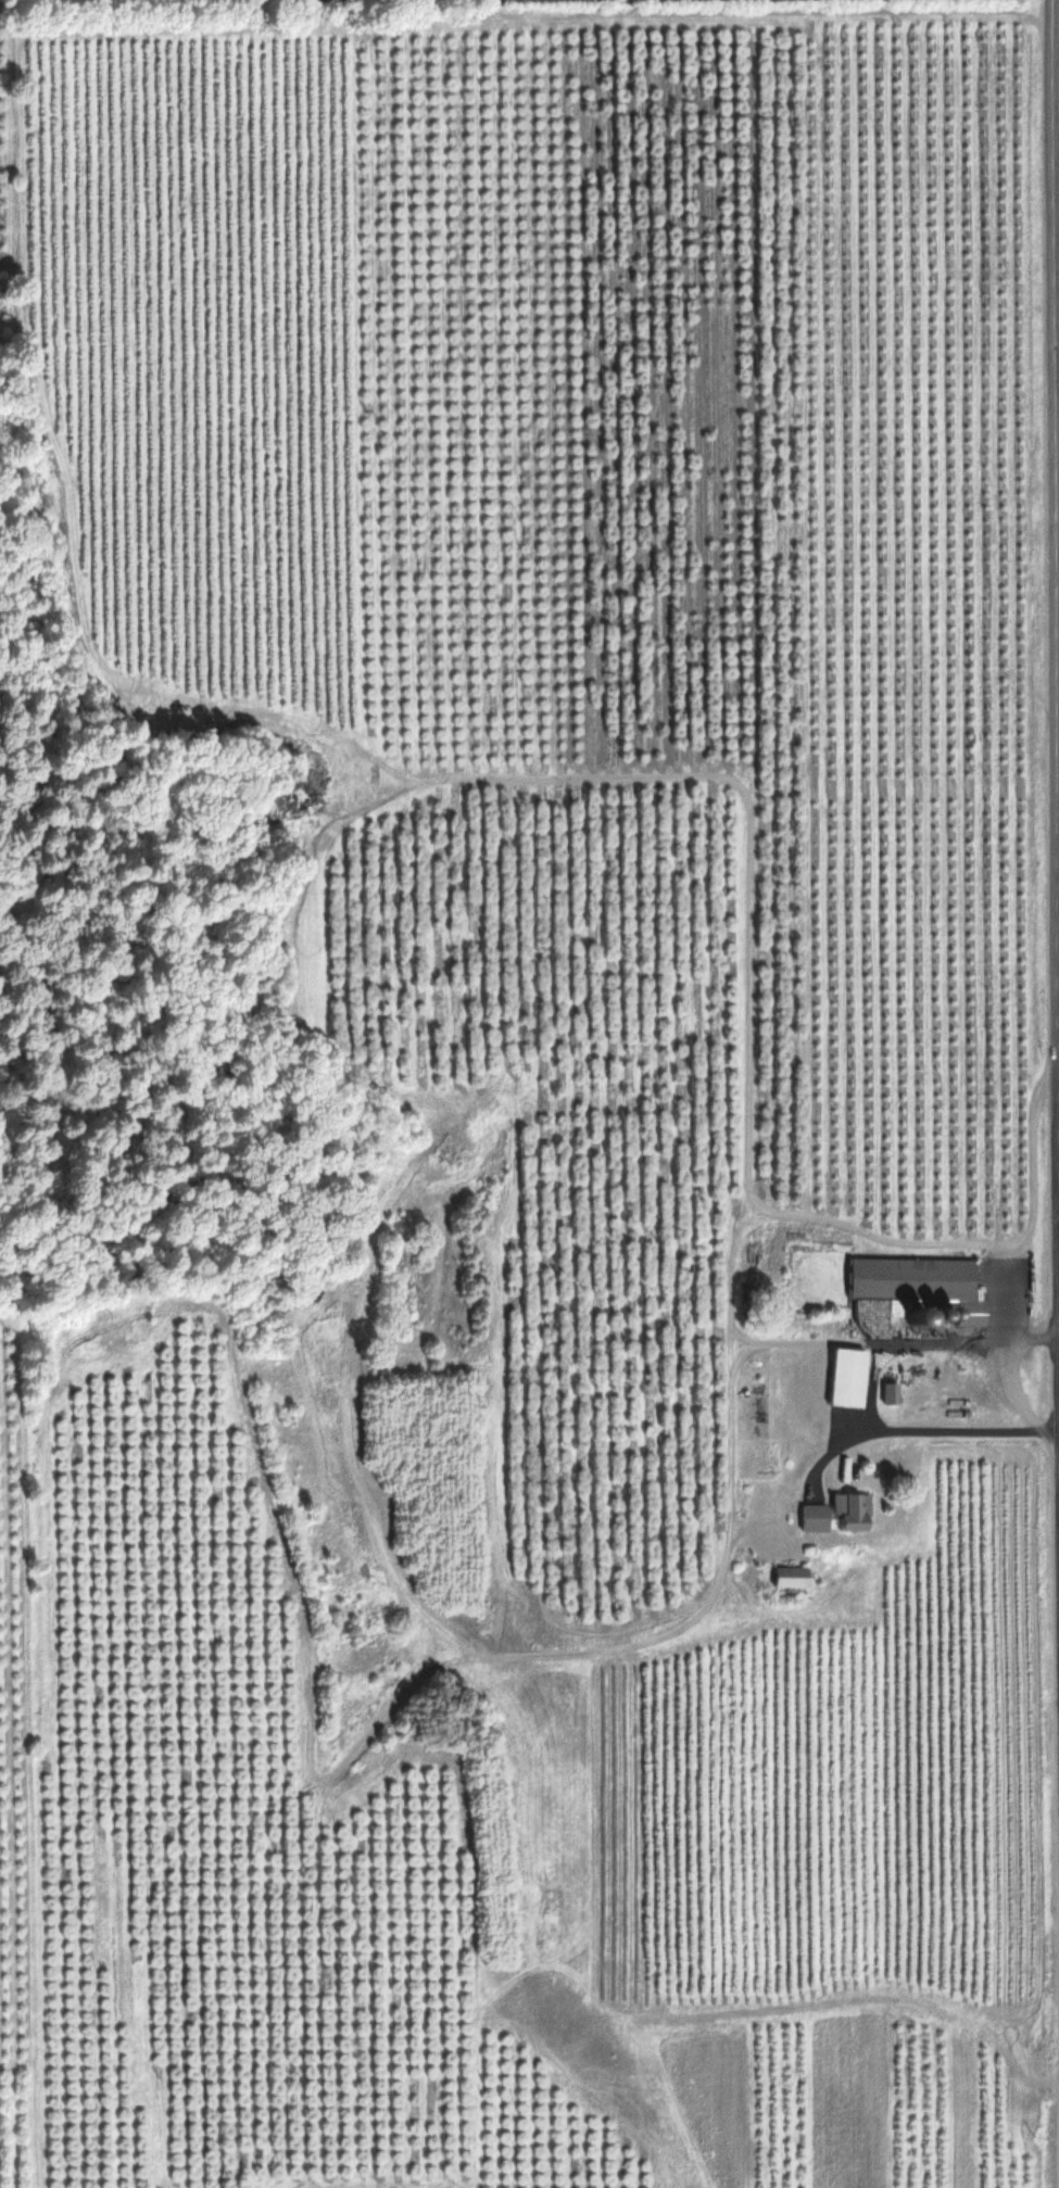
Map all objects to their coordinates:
road: (1052, 523)
road: (1058, 1046)
road: (1058, 1085)
building: (909, 1288)
building: (842, 1380)
building: (884, 1397)
building: (831, 1516)
building: (784, 1579)

